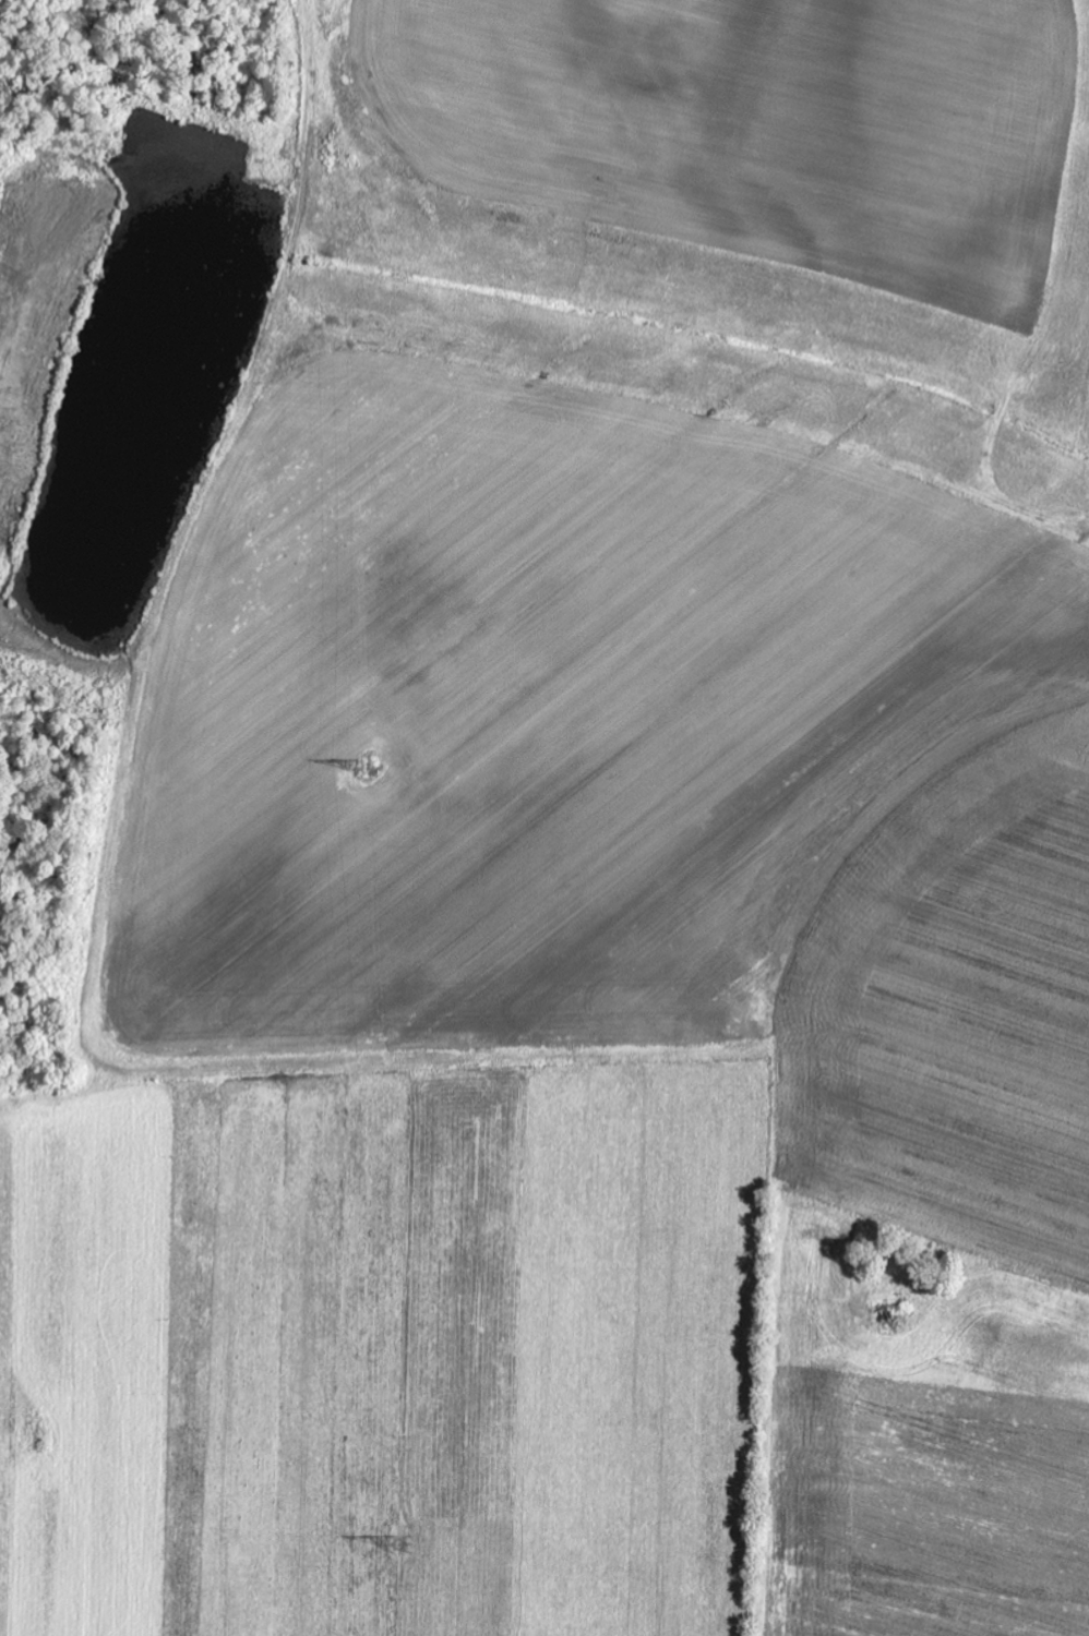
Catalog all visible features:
power tower: (372, 770)
power tower: (402, 1547)

